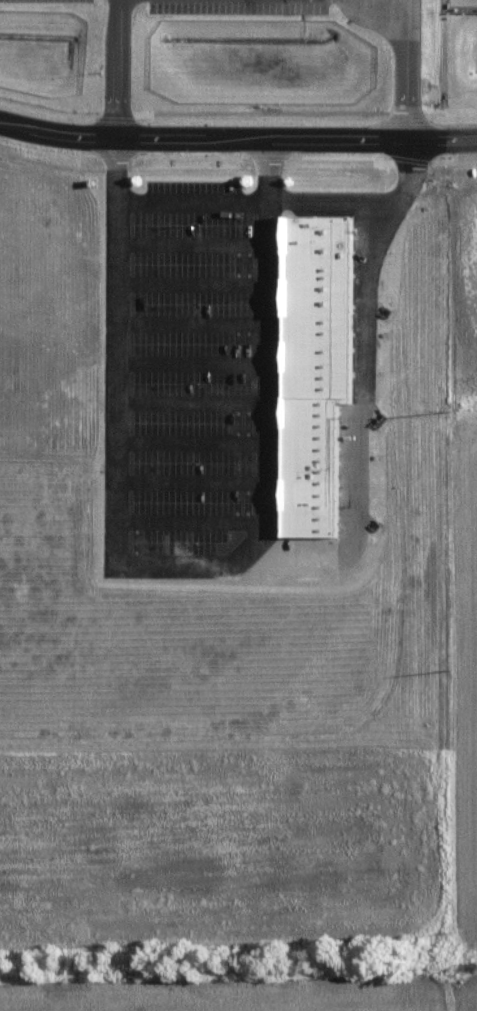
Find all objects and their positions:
parking lot: (128, 3)
parking lot: (247, 4)
road: (128, 67)
road: (417, 68)
road: (63, 132)
road: (303, 136)
road: (343, 195)
road: (202, 201)
road: (202, 244)
road: (202, 284)
road: (202, 323)
road: (277, 349)
road: (202, 361)
building: (322, 365)
parking lot: (195, 377)
road: (202, 404)
road: (202, 441)
road: (202, 483)
road: (202, 524)
road: (242, 563)

